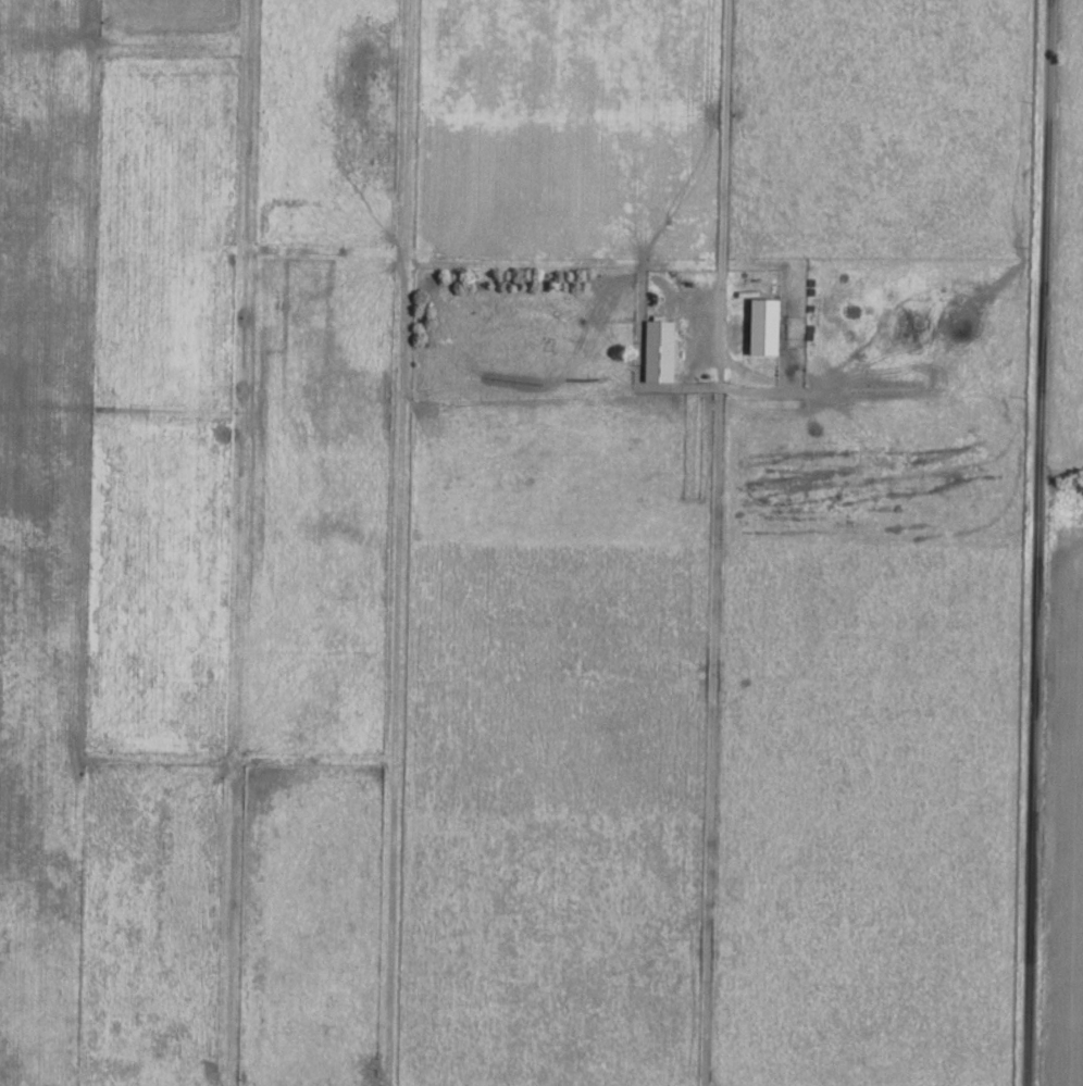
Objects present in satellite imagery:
building: (770, 326)
building: (664, 351)
road: (1036, 542)

